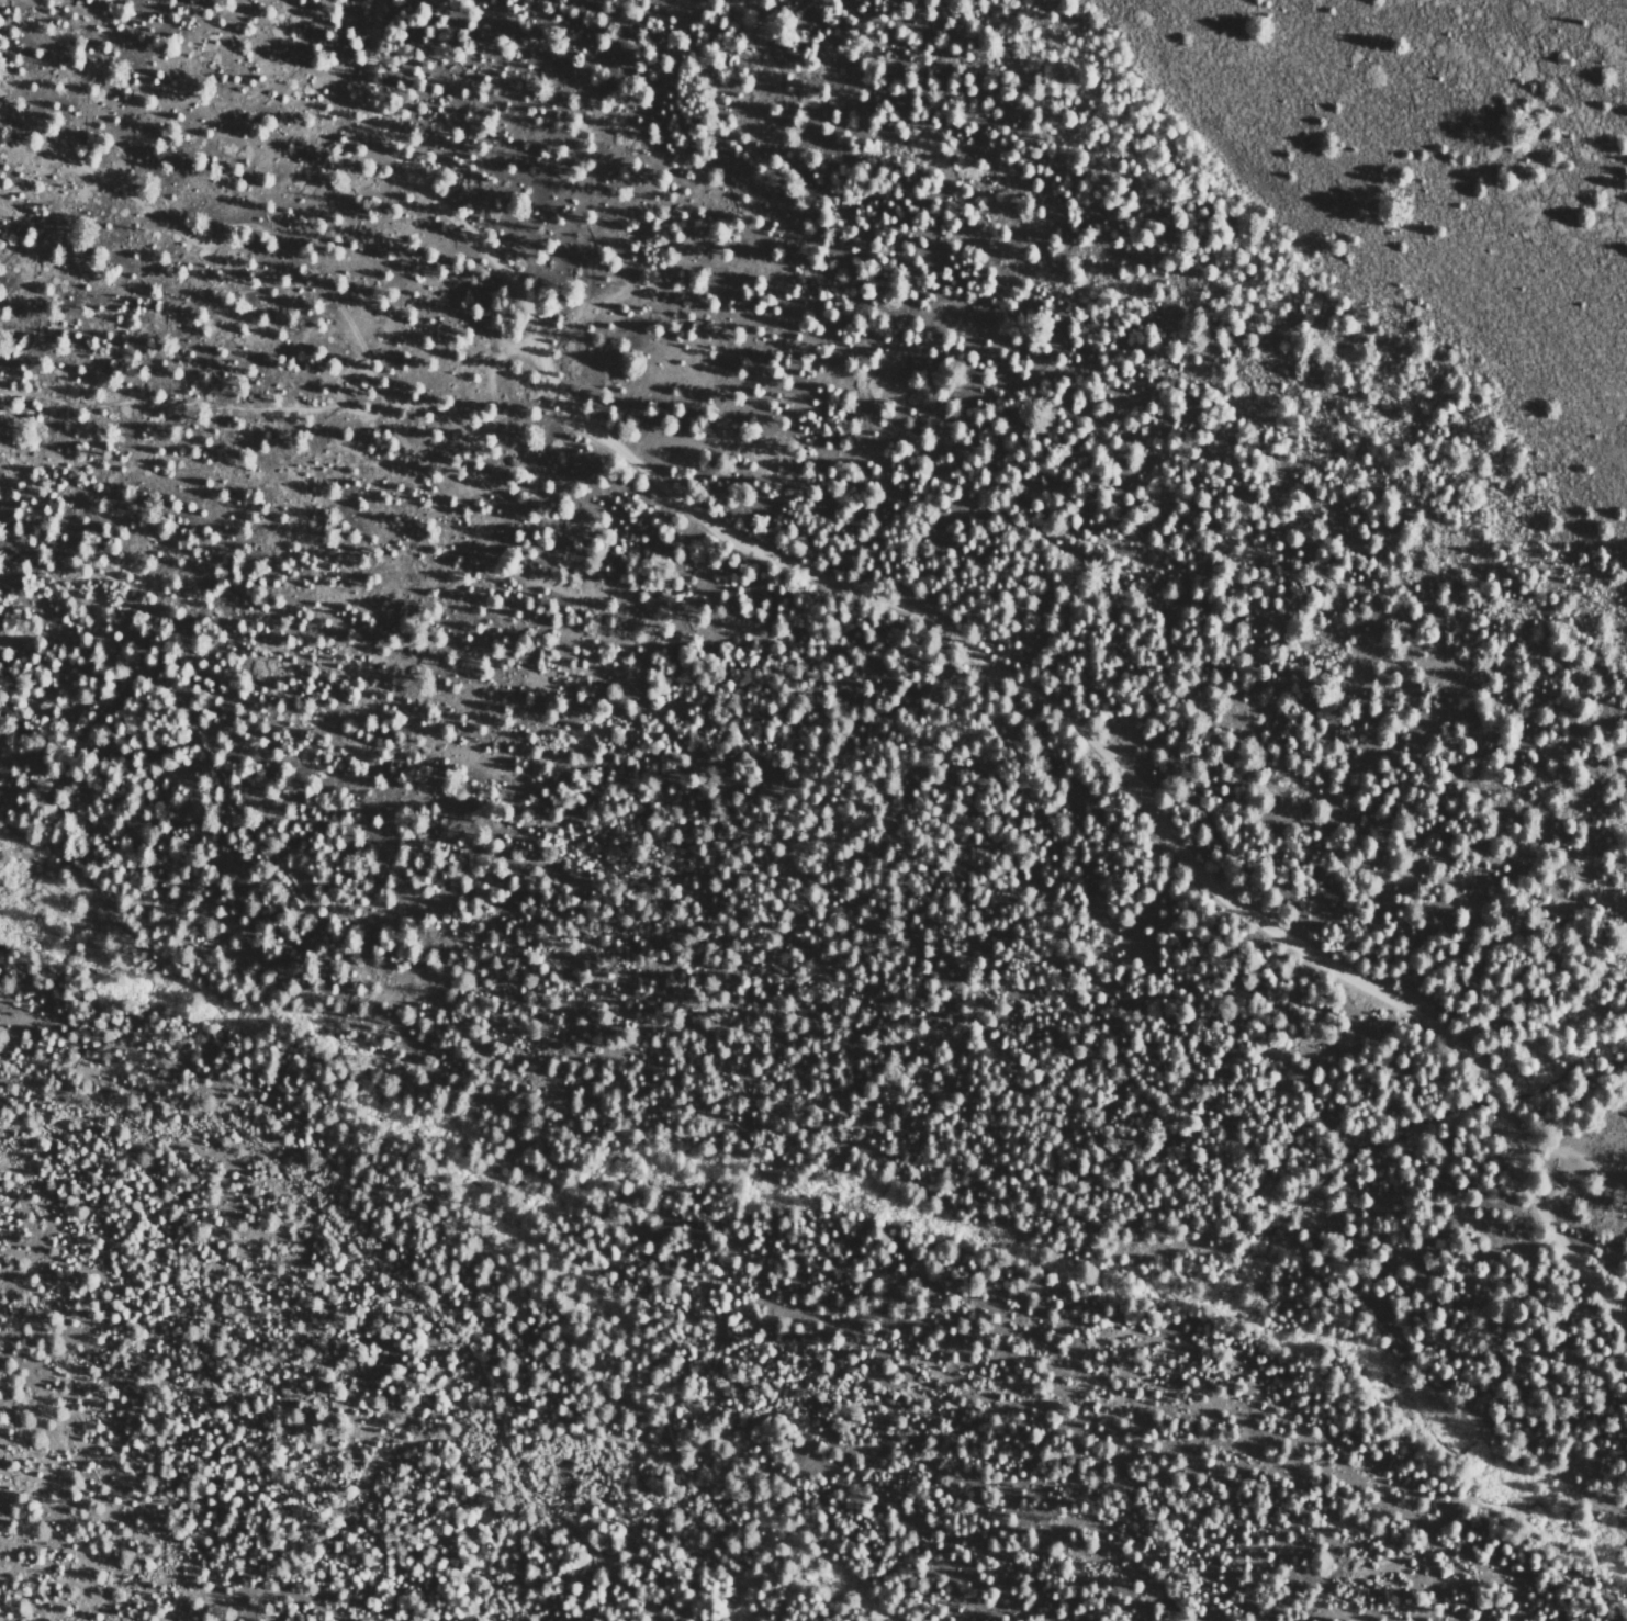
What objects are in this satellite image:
road: (308, 263)
road: (204, 403)
road: (976, 655)
road: (246, 823)
road: (1518, 933)
road: (1571, 1153)
road: (395, 1264)

